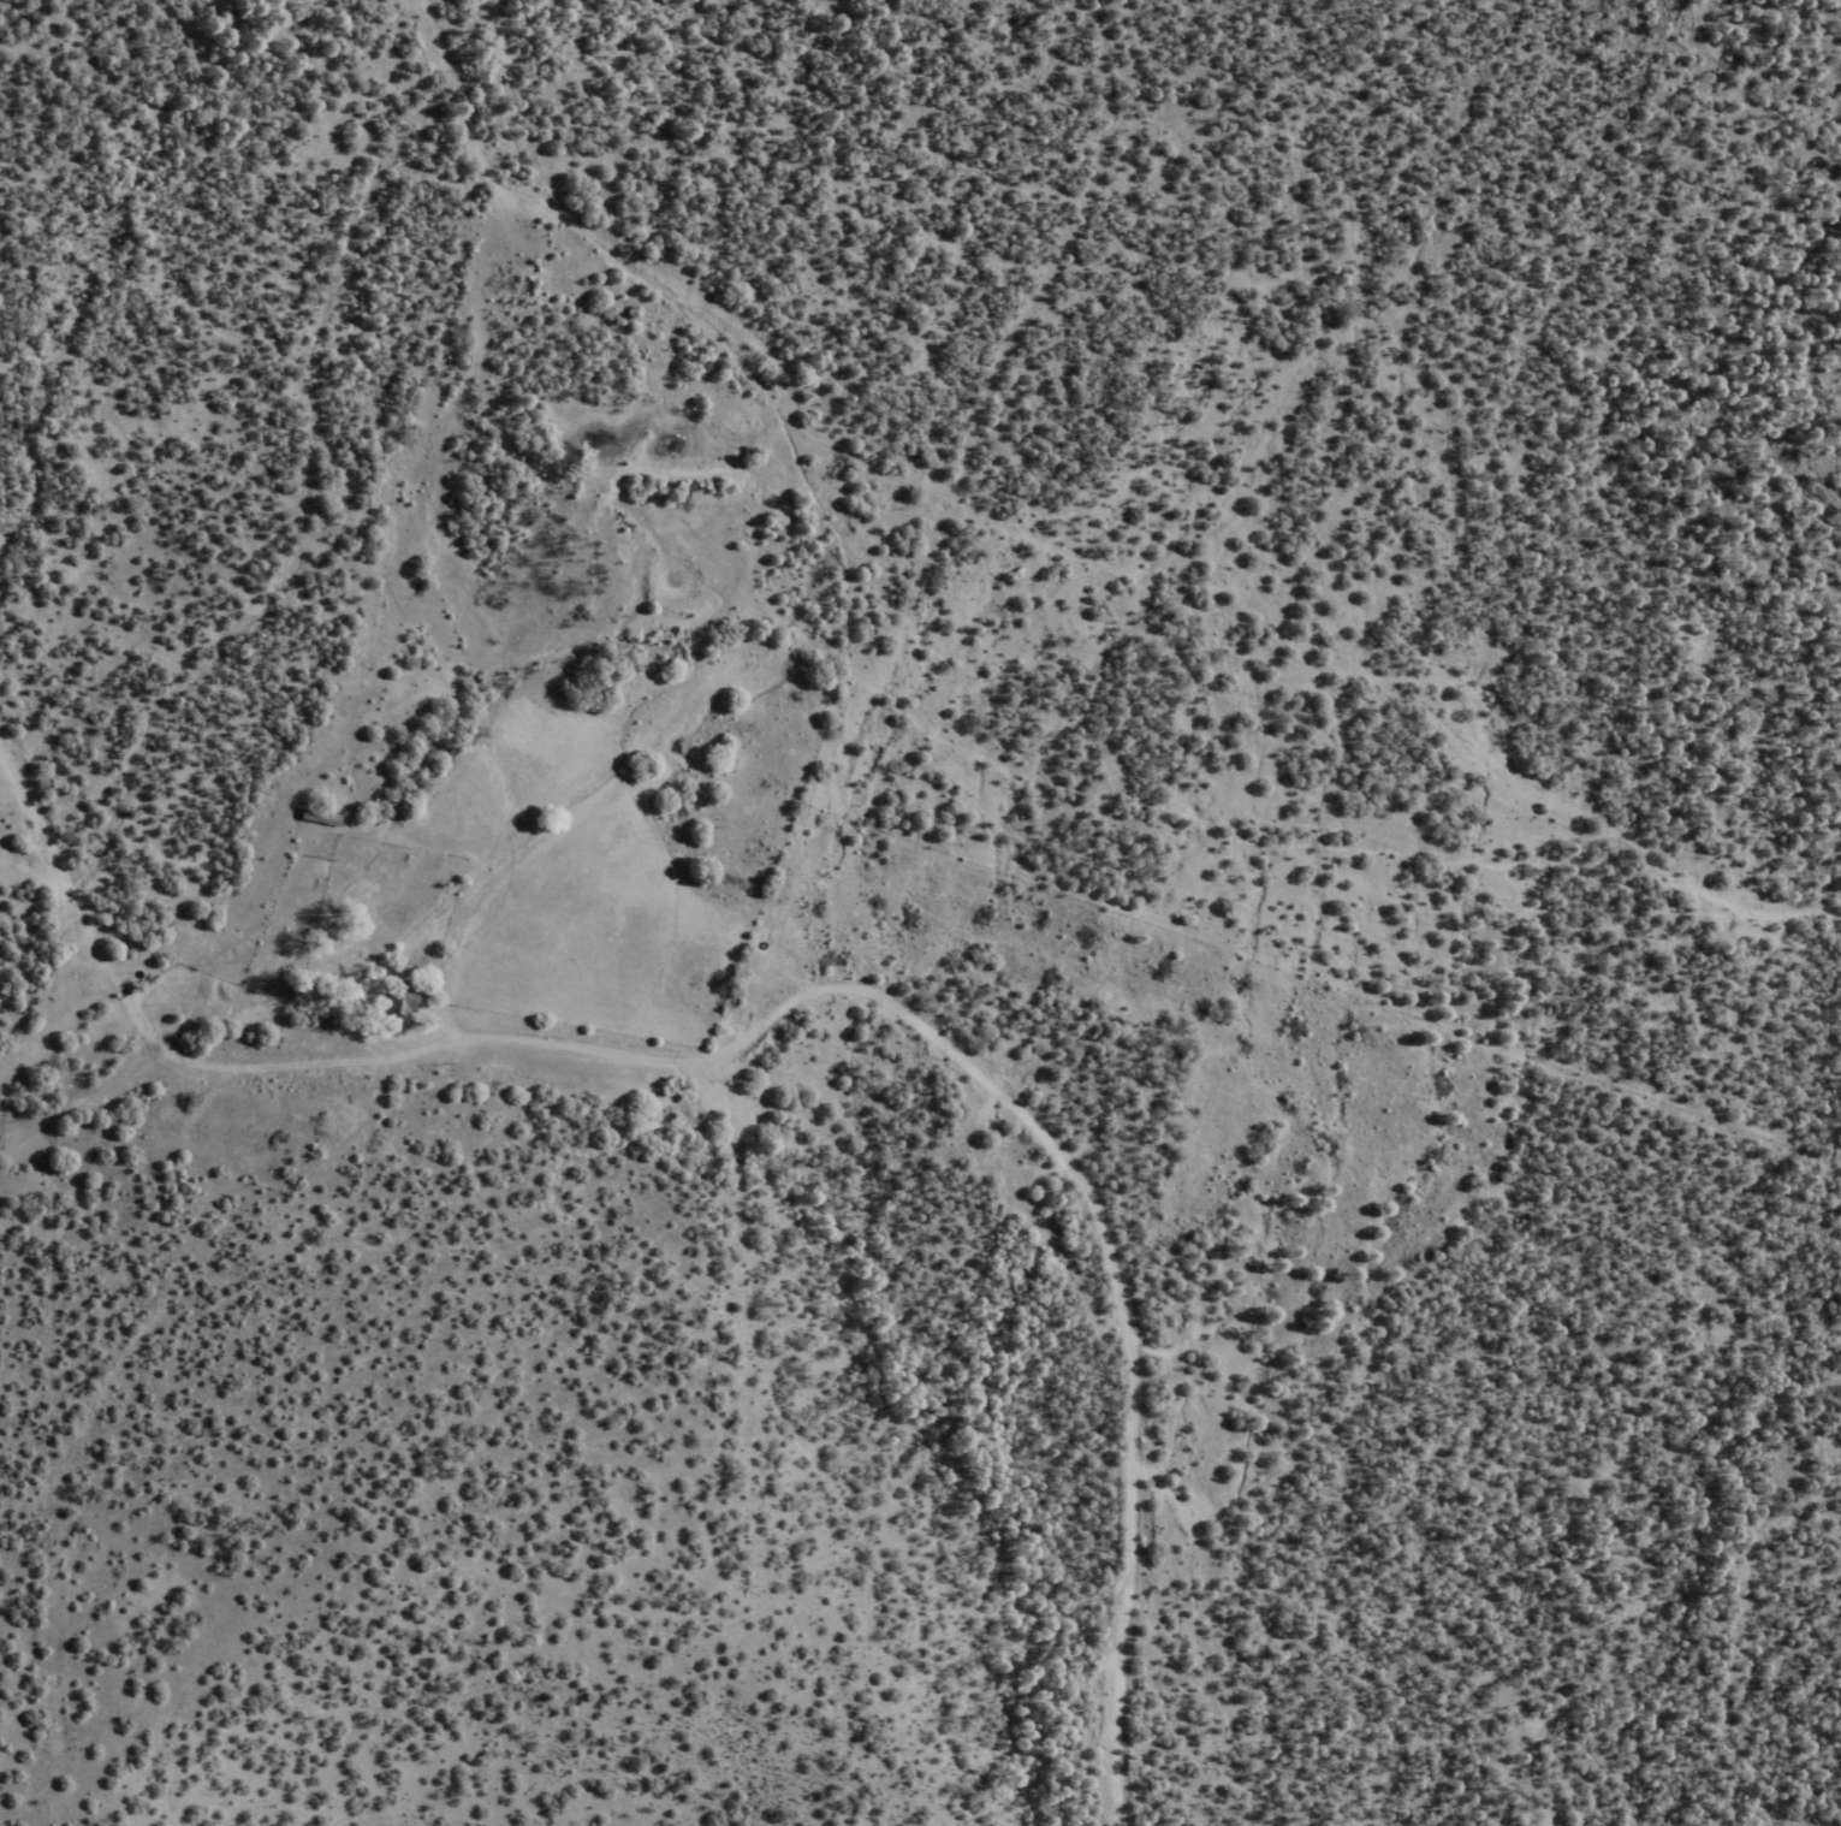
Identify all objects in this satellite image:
building: (323, 817)
building: (410, 997)
road: (791, 1001)

